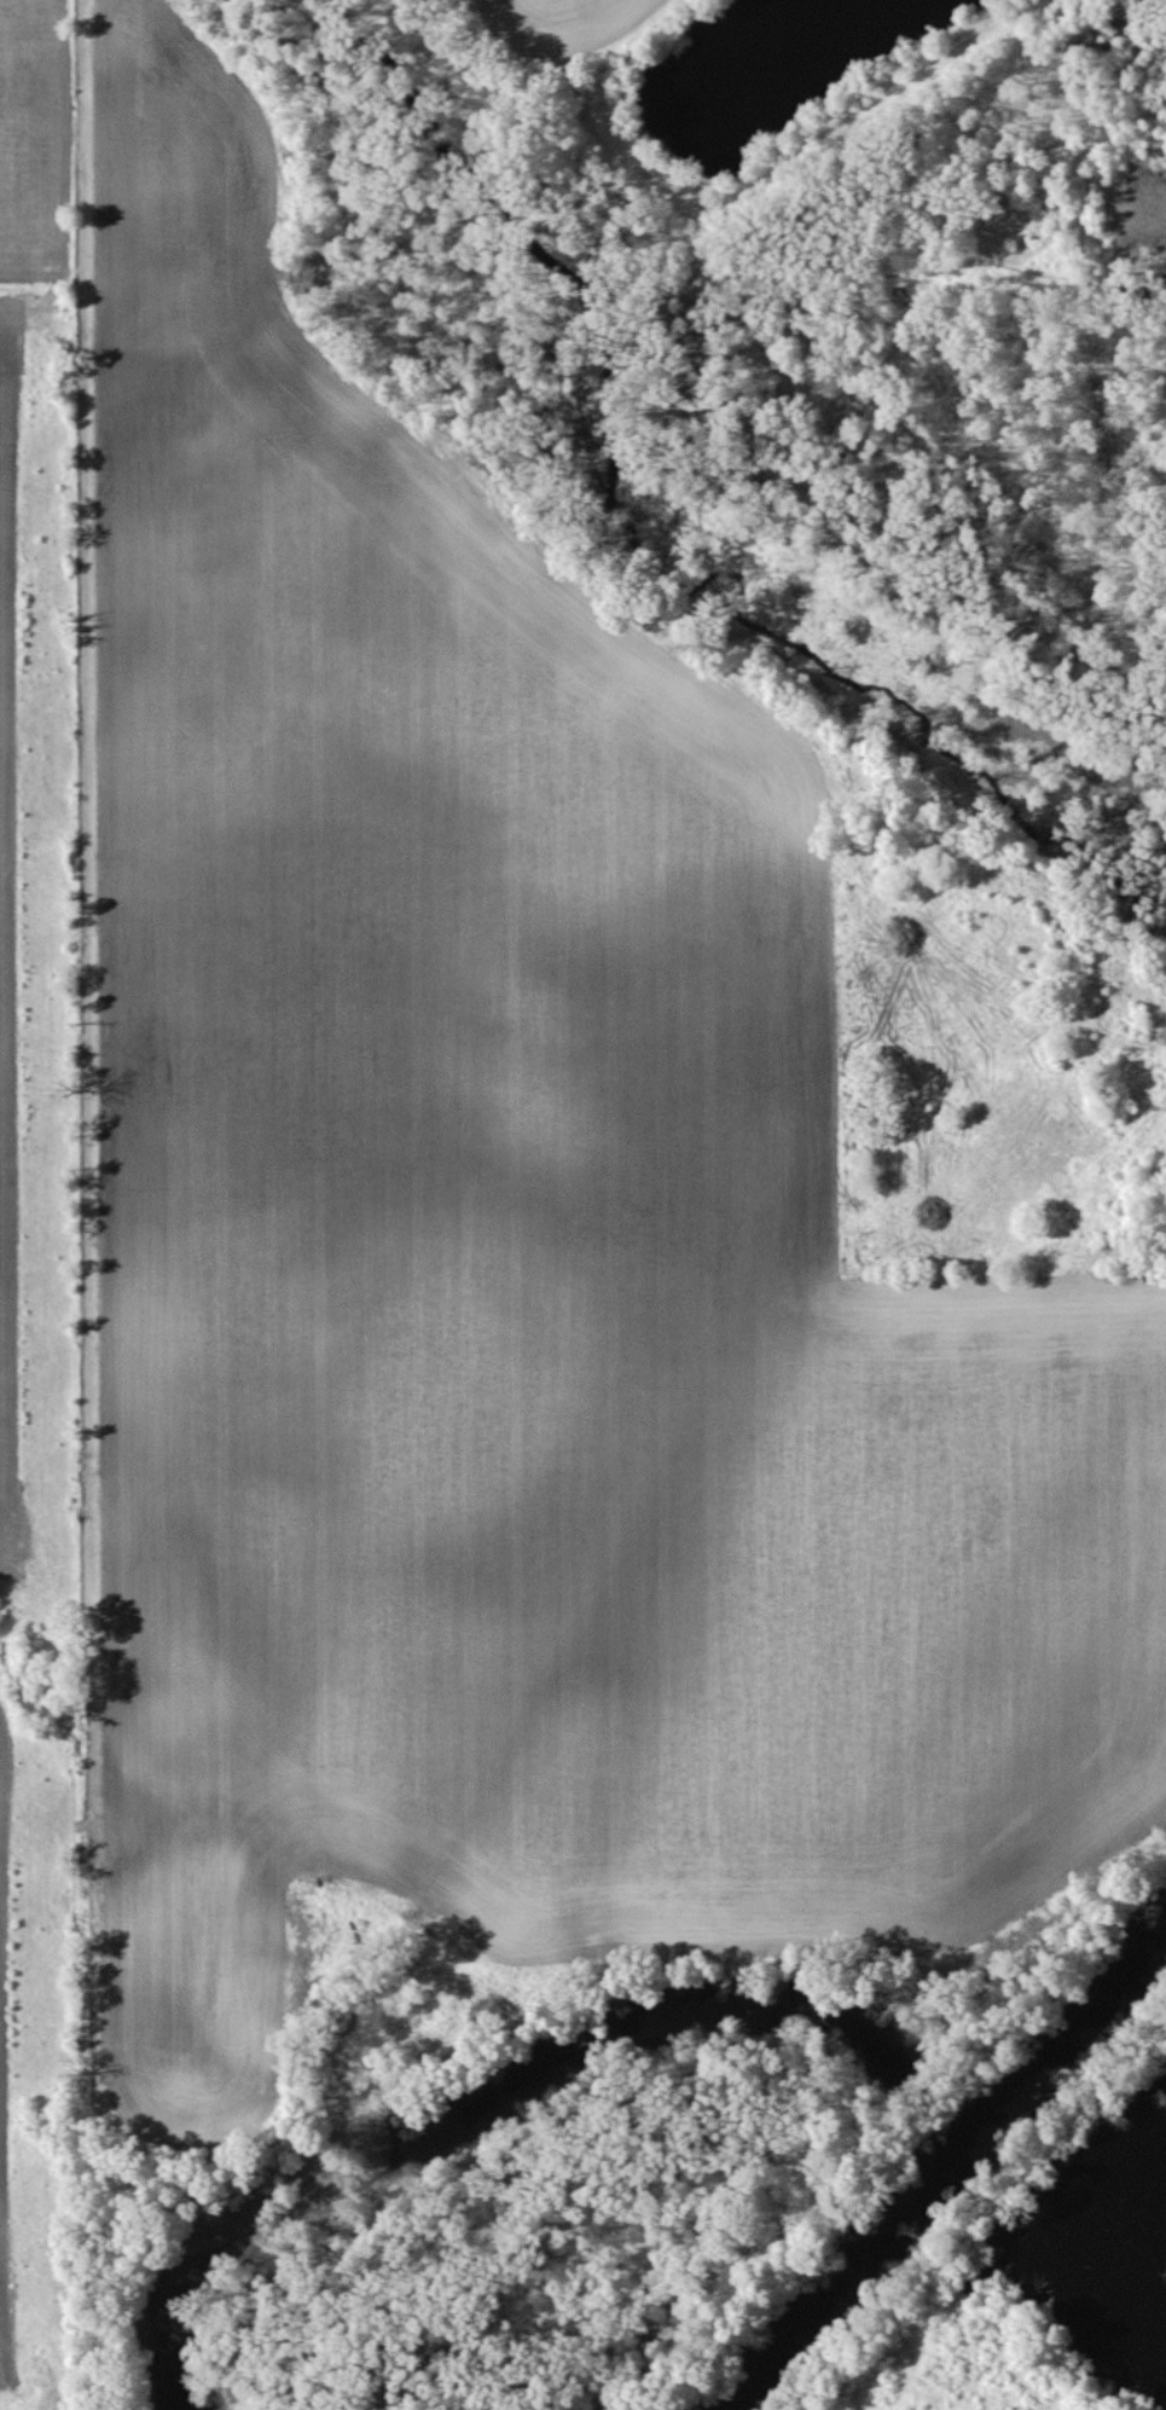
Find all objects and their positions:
river: (952, 2171)

